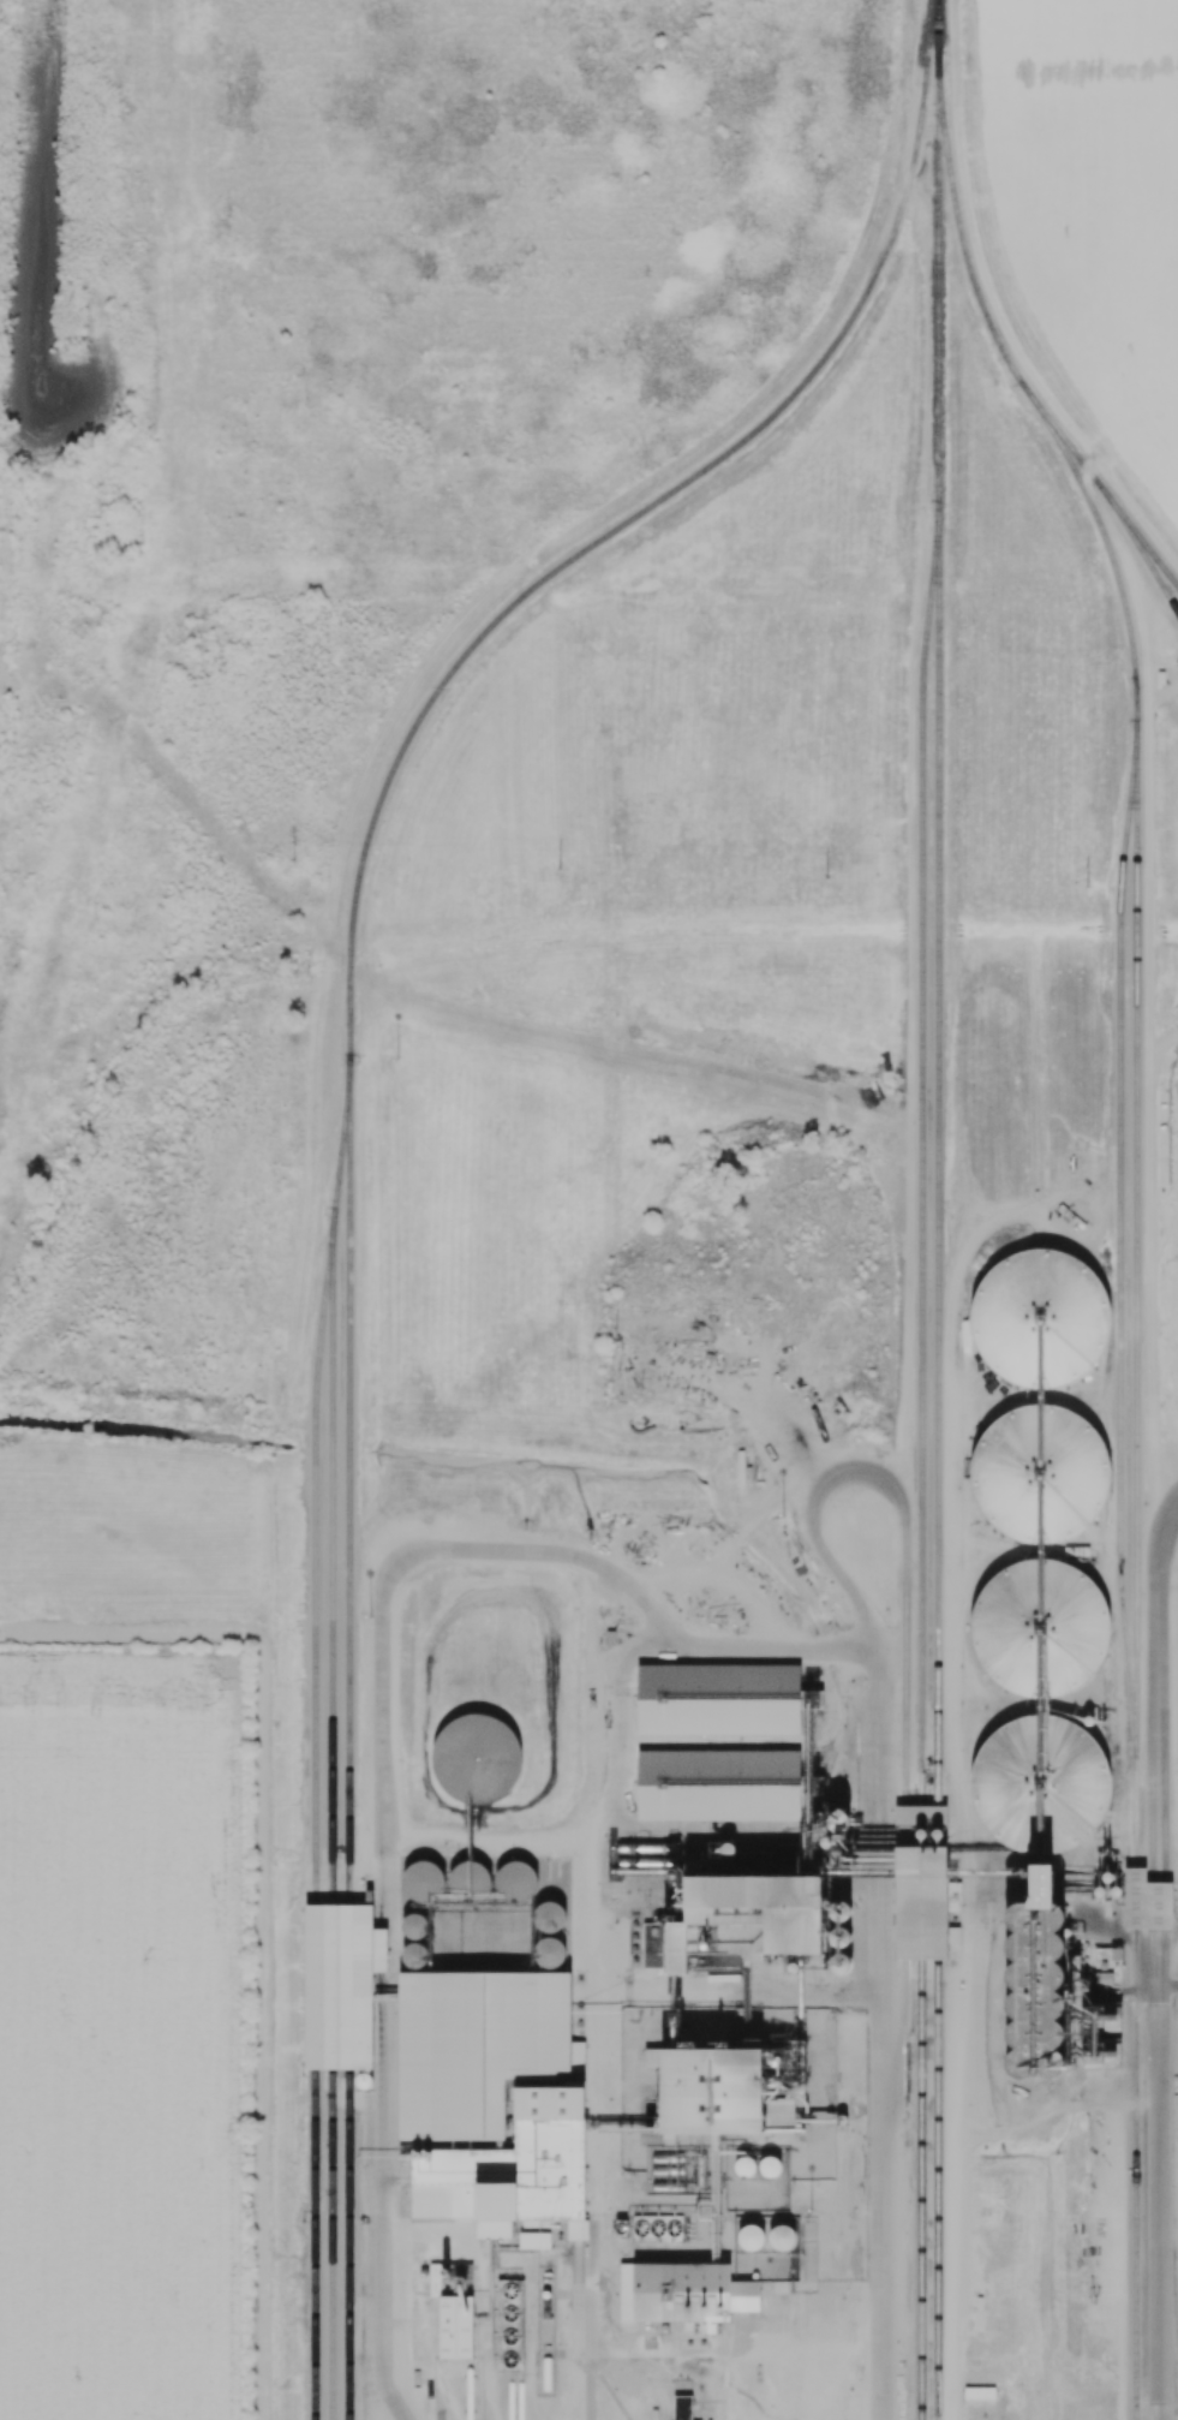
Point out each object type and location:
railway: (939, 35)
road: (956, 49)
road: (914, 186)
road: (815, 352)
road: (1018, 352)
road: (927, 395)
railway: (1099, 484)
railway: (1137, 550)
power tower: (298, 862)
power tower: (561, 868)
power tower: (830, 876)
power tower: (1092, 886)
railway: (346, 1096)
railway: (1137, 1224)
railway: (1123, 1239)
railway: (921, 1244)
railway: (939, 1461)
road: (492, 1544)
railway: (351, 1739)
railway: (316, 1813)
road: (532, 1841)
road: (883, 1921)
road: (1164, 1960)
road: (597, 1997)
building: (472, 2045)
building: (712, 2088)
building: (509, 2168)
building: (647, 2228)
road: (383, 2255)
building: (686, 2291)
building: (450, 2308)
building: (504, 2324)
road: (740, 2355)

